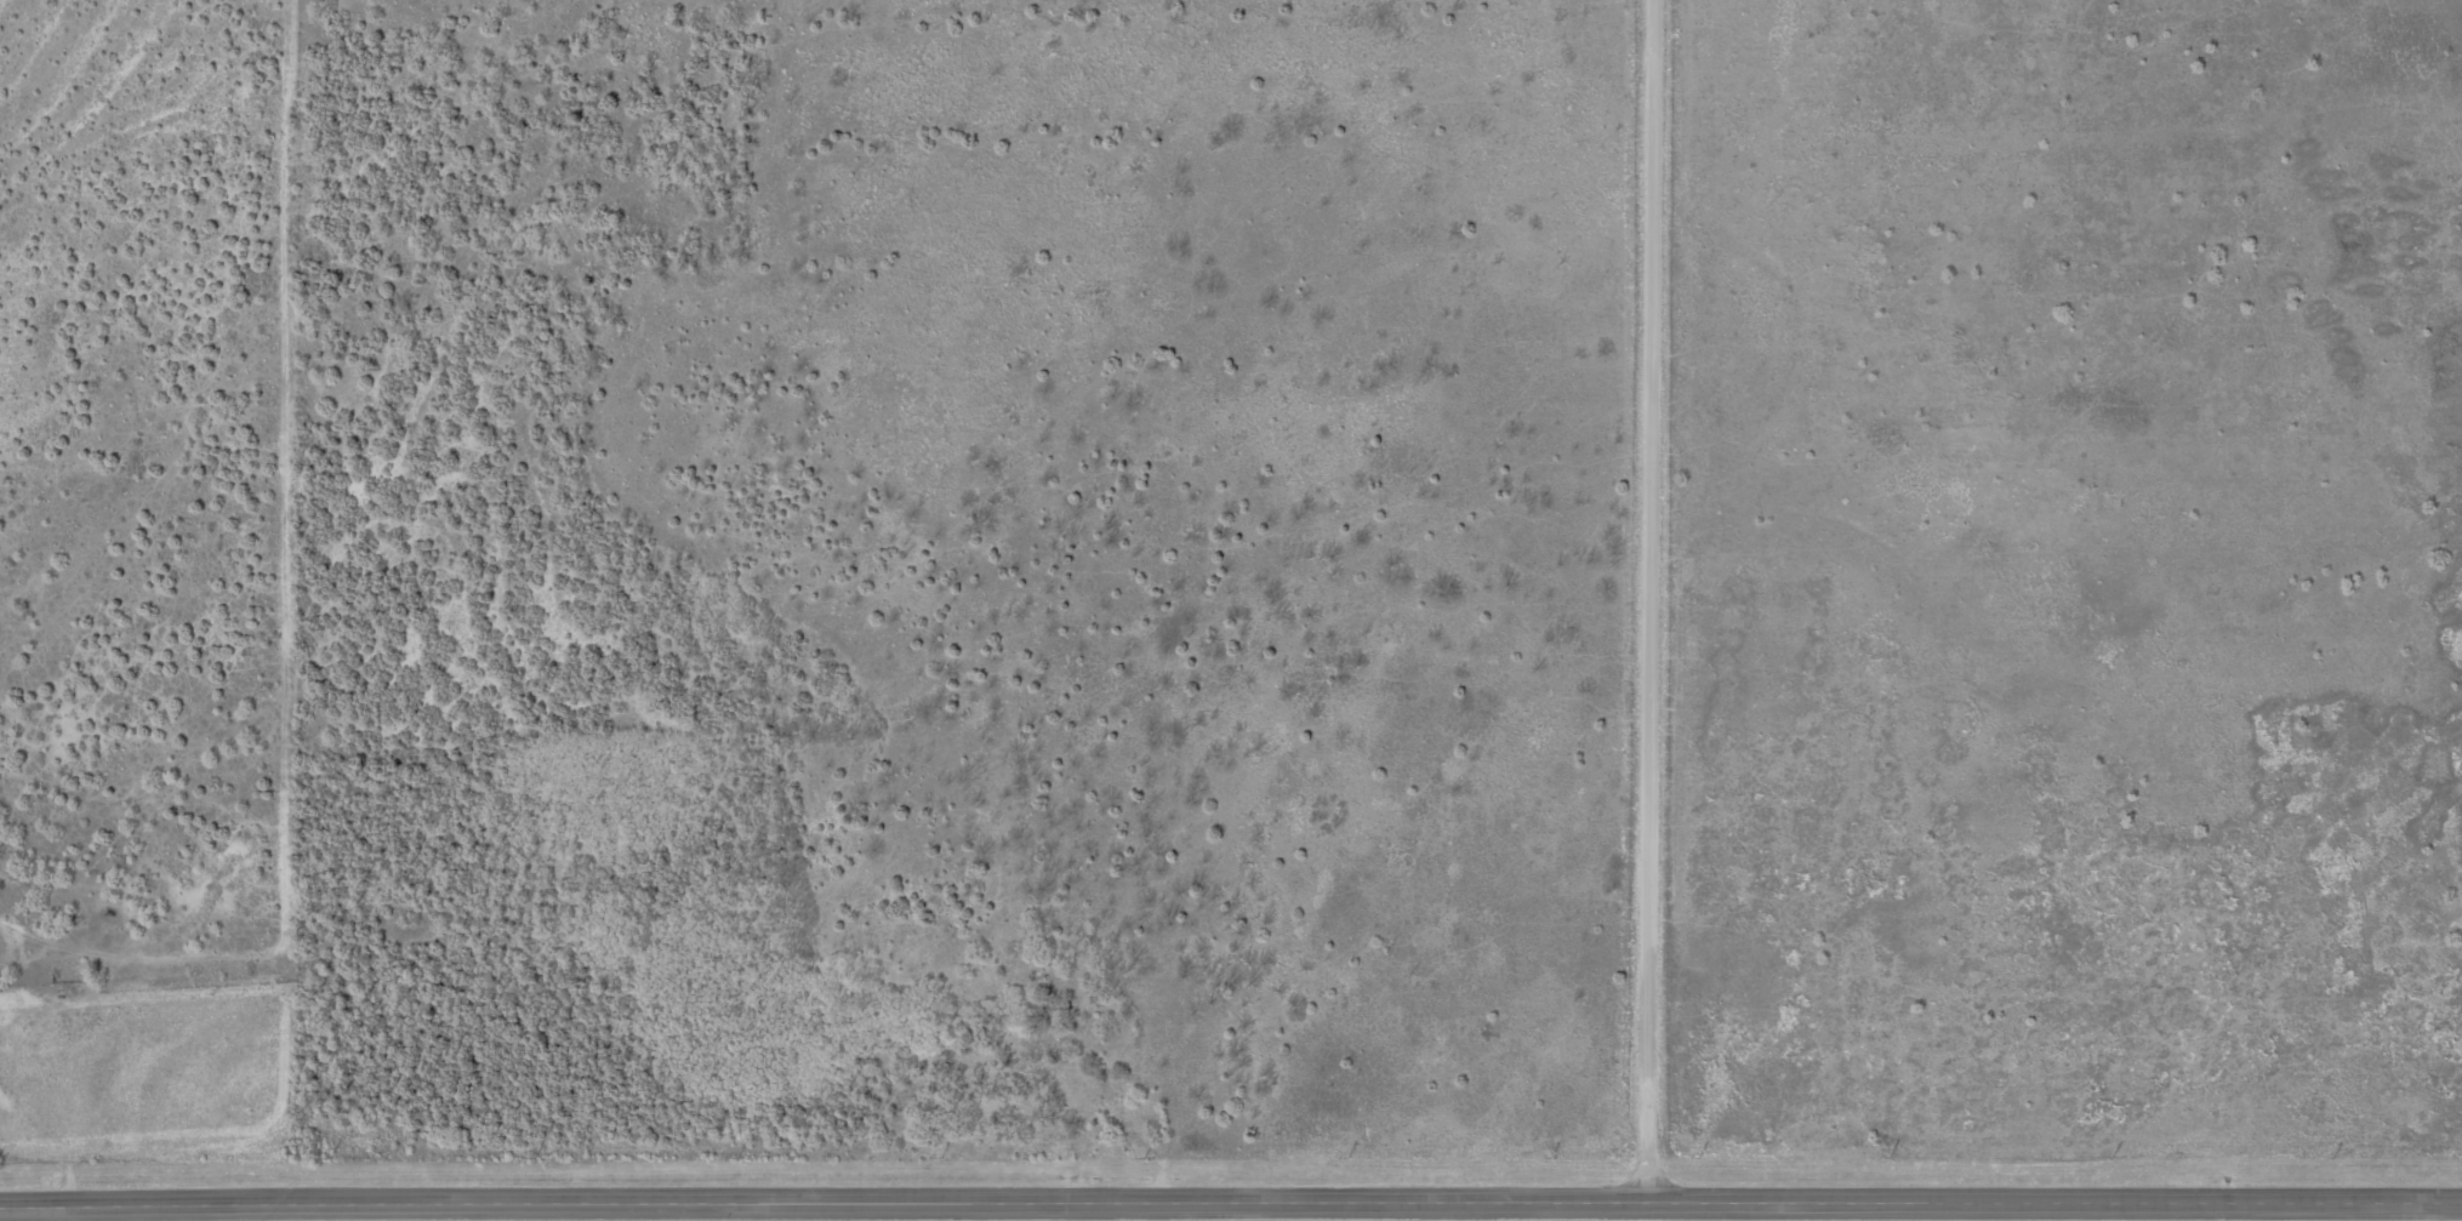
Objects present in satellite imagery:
road: (1651, 600)
road: (1230, 1204)

